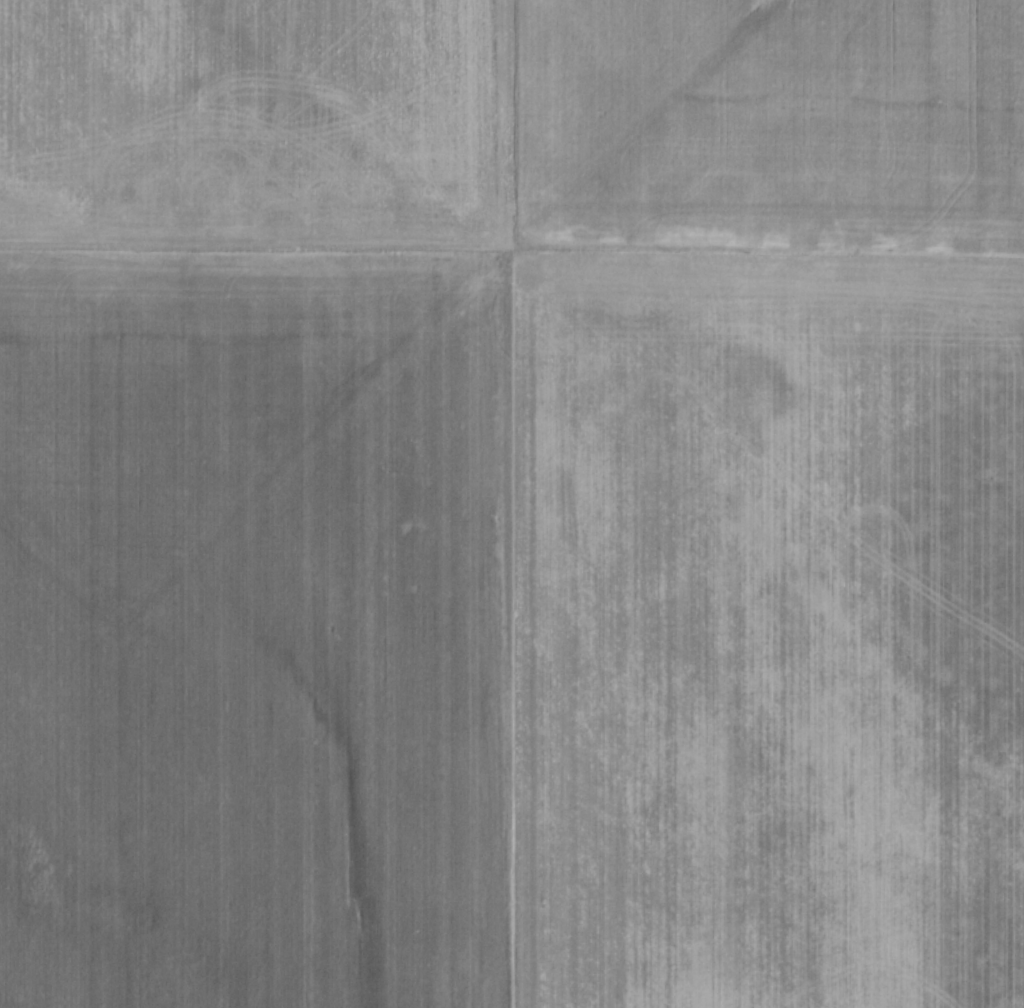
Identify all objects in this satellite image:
crop: (512, 504)

